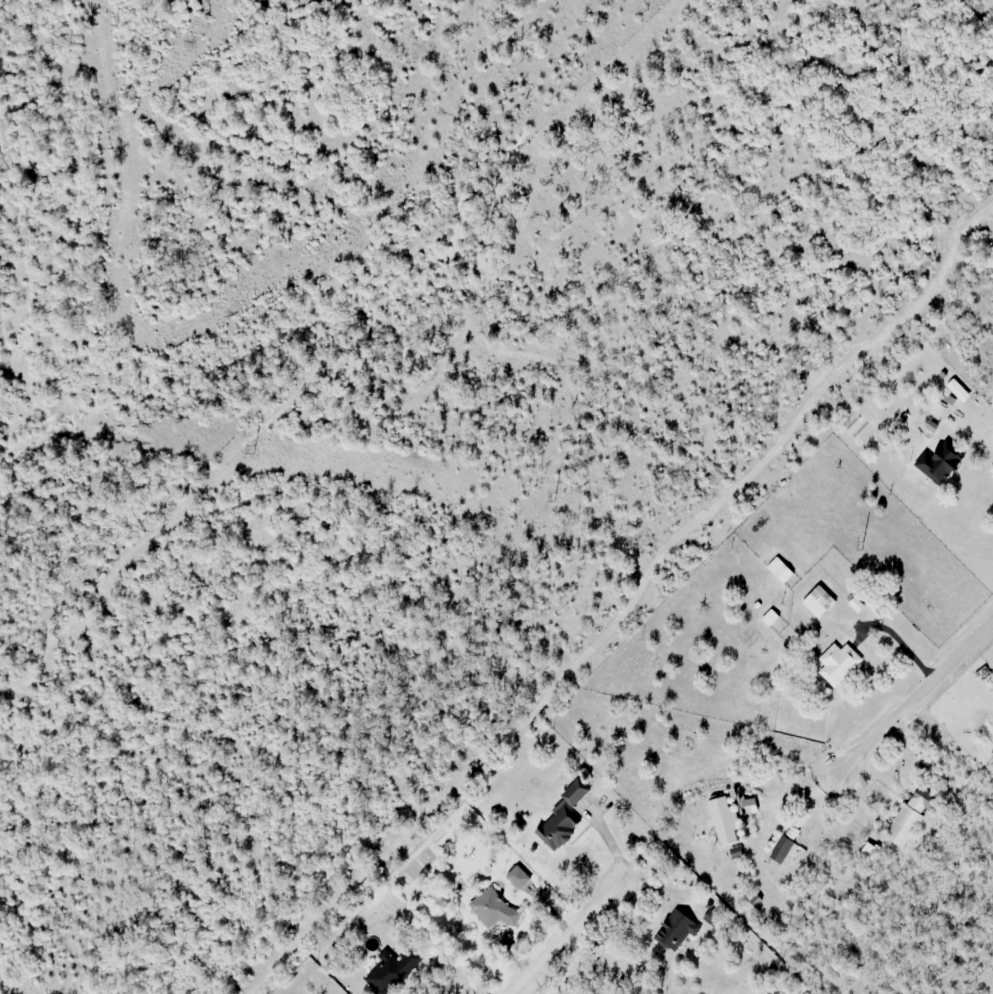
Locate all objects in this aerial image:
building: (960, 390)
building: (943, 407)
power tower: (248, 446)
building: (941, 463)
power tower: (555, 497)
power tower: (859, 544)
building: (781, 569)
building: (820, 601)
building: (839, 663)
road: (914, 696)
building: (752, 806)
building: (911, 818)
building: (564, 819)
building: (728, 820)
building: (520, 877)
building: (492, 908)
building: (677, 930)
road: (562, 938)
building: (392, 971)

